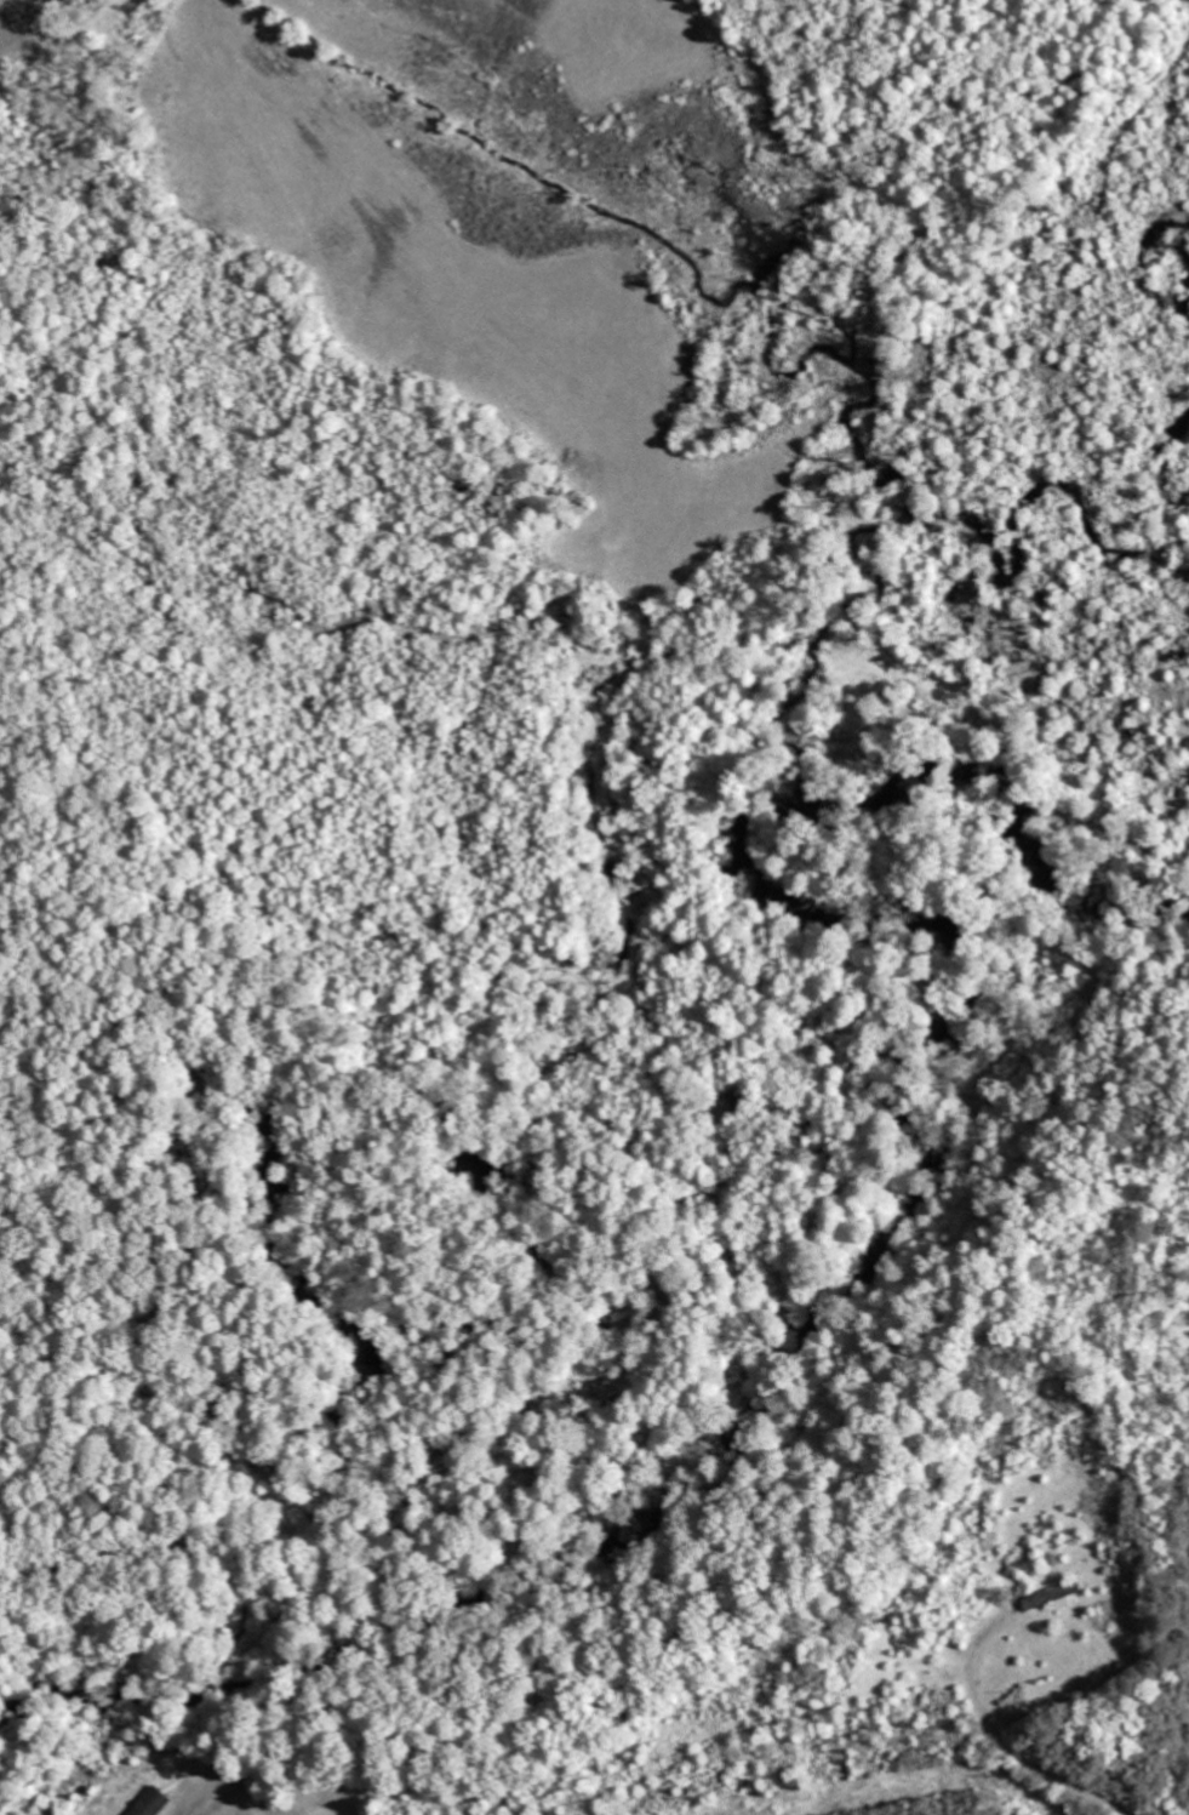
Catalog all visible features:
building: (158, 1803)

